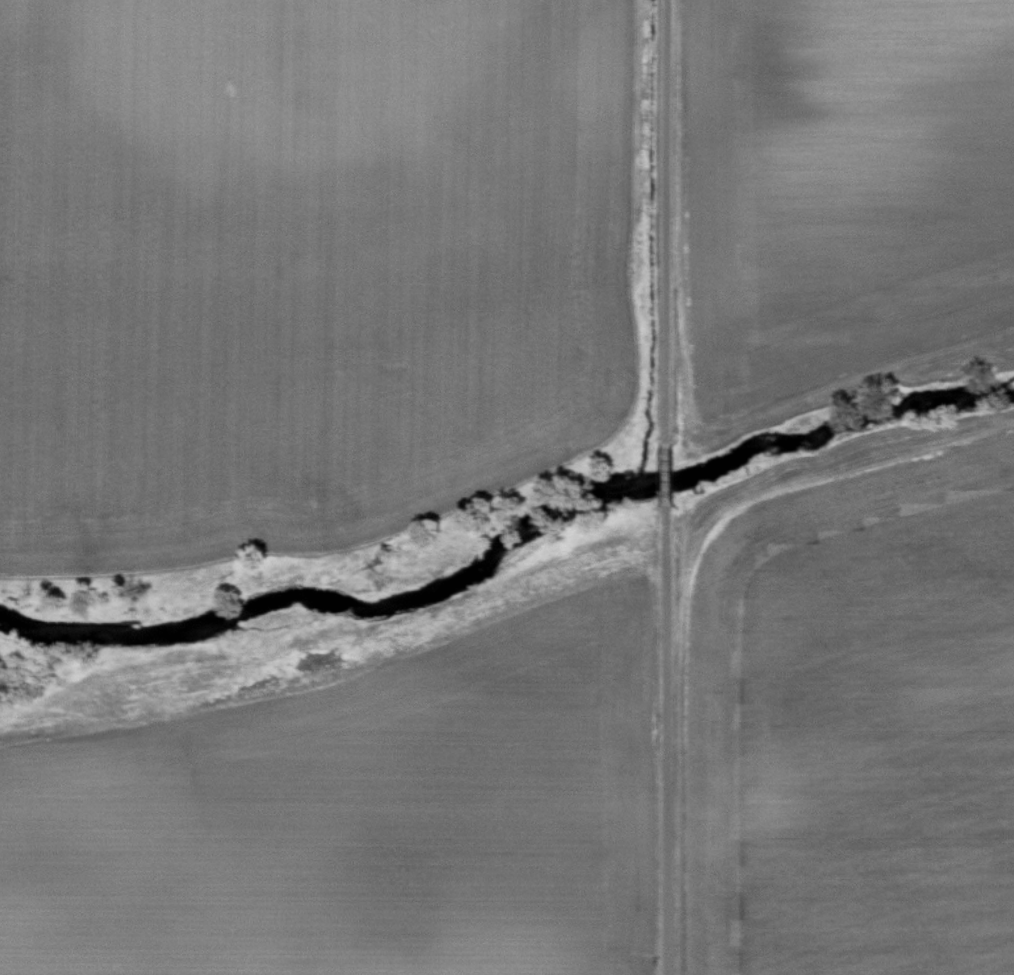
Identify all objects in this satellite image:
road: (668, 221)
road: (666, 476)
road: (665, 742)

